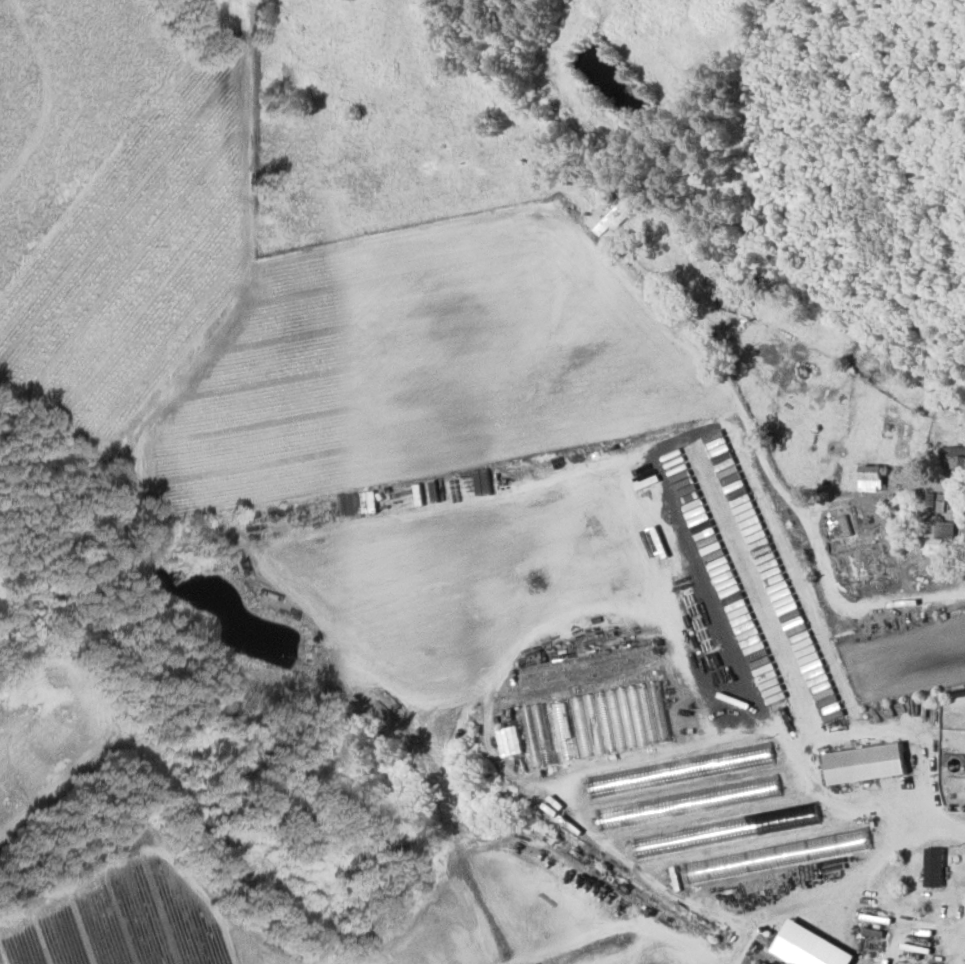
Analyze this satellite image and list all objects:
building: (605, 215)
building: (717, 281)
building: (953, 457)
building: (680, 476)
building: (871, 478)
building: (939, 536)
building: (620, 718)
building: (562, 729)
building: (536, 734)
building: (509, 740)
building: (865, 762)
building: (687, 802)
building: (861, 840)
building: (934, 866)
building: (809, 946)

